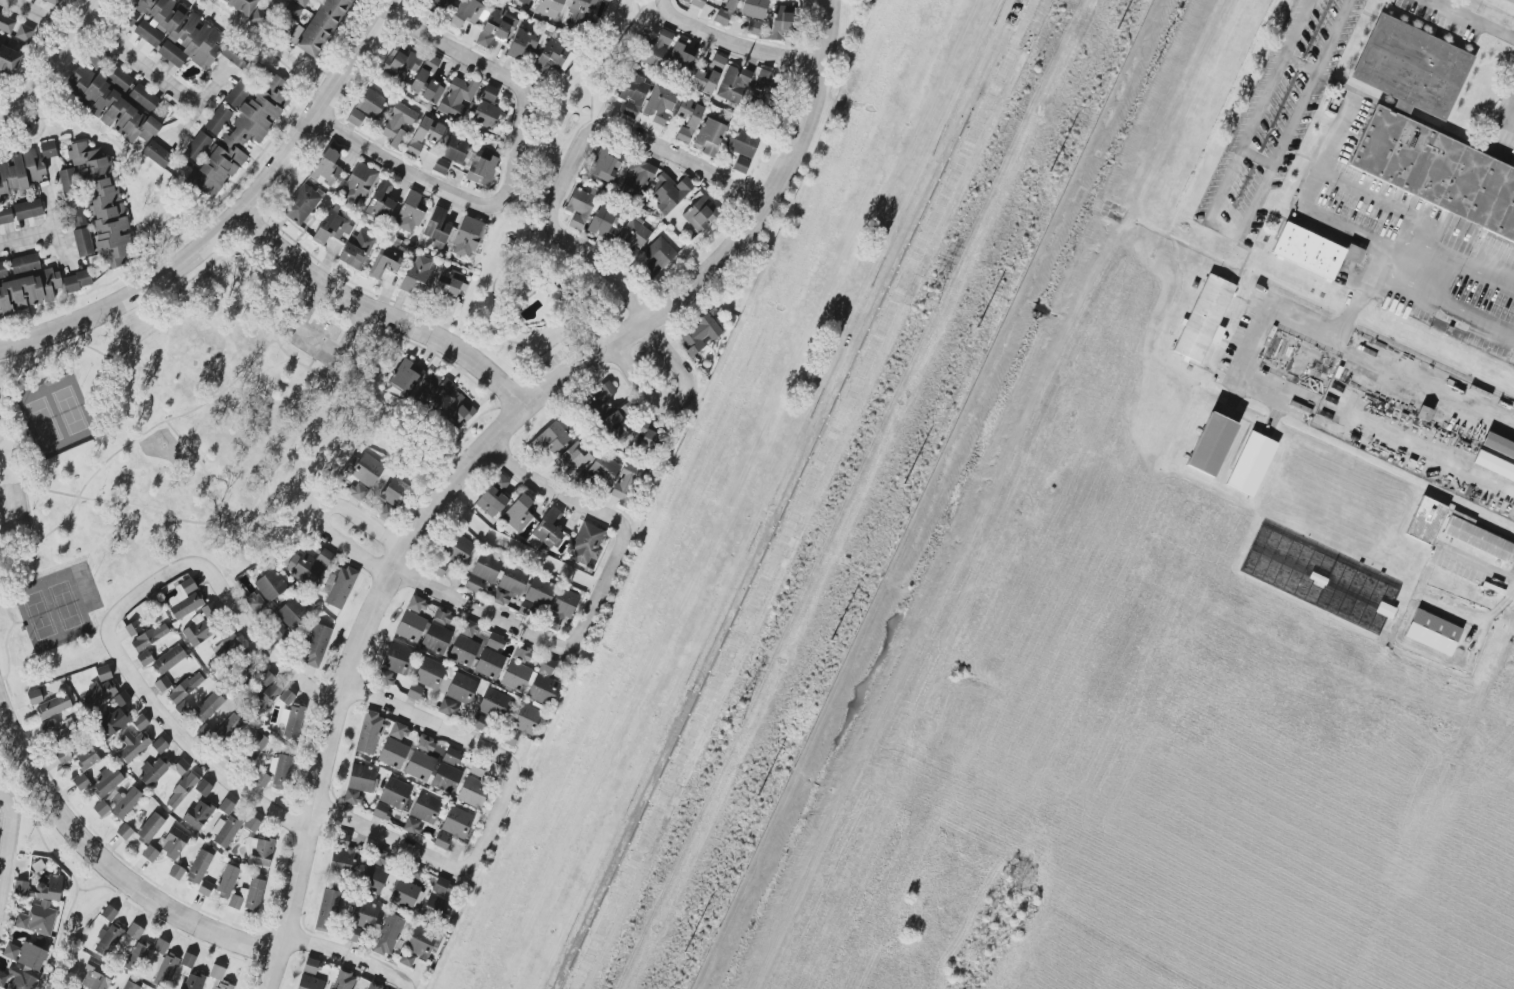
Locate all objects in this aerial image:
road: (269, 1)
building: (53, 2)
building: (524, 2)
building: (697, 2)
building: (243, 5)
building: (296, 7)
building: (549, 8)
building: (754, 8)
building: (725, 12)
building: (465, 13)
building: (583, 13)
road: (37, 16)
building: (258, 16)
road: (1477, 17)
building: (780, 21)
building: (6, 24)
building: (496, 26)
building: (321, 27)
building: (753, 27)
building: (23, 32)
building: (175, 32)
building: (522, 44)
road: (731, 45)
building: (552, 58)
building: (9, 59)
road: (137, 60)
building: (681, 61)
building: (399, 62)
road: (1300, 64)
road: (480, 65)
road: (48, 66)
building: (1410, 66)
building: (424, 74)
building: (120, 79)
building: (734, 84)
building: (432, 92)
building: (489, 93)
building: (633, 94)
building: (143, 97)
building: (457, 98)
building: (660, 104)
building: (110, 106)
road: (194, 110)
building: (485, 114)
building: (218, 119)
building: (688, 119)
building: (397, 123)
building: (240, 132)
building: (424, 135)
building: (708, 136)
road: (1336, 137)
building: (742, 143)
building: (198, 146)
road: (656, 147)
building: (48, 149)
building: (455, 149)
building: (156, 154)
road: (1257, 158)
building: (605, 164)
building: (741, 165)
building: (441, 166)
building: (326, 167)
building: (482, 168)
building: (1436, 168)
building: (19, 172)
building: (638, 176)
building: (69, 182)
building: (359, 183)
road: (426, 183)
building: (670, 192)
park: (531, 194)
building: (381, 202)
building: (301, 203)
building: (103, 204)
road: (50, 205)
building: (579, 207)
building: (28, 209)
building: (410, 212)
building: (701, 214)
building: (6, 216)
building: (77, 216)
road: (233, 219)
building: (603, 221)
road: (1340, 221)
building: (332, 226)
building: (437, 227)
road: (1231, 231)
building: (634, 234)
road: (28, 236)
building: (467, 237)
road: (1411, 237)
building: (83, 242)
building: (1307, 246)
building: (356, 250)
road: (578, 251)
building: (658, 256)
building: (387, 257)
road: (1397, 262)
building: (25, 263)
building: (416, 274)
building: (77, 281)
building: (449, 282)
building: (26, 289)
power tower: (935, 294)
road: (1450, 304)
road: (1269, 307)
building: (1201, 314)
road: (380, 315)
road: (273, 334)
building: (699, 334)
road: (70, 344)
road: (315, 344)
road: (313, 358)
road: (1386, 371)
building: (405, 376)
road: (0, 384)
building: (434, 391)
building: (600, 400)
road: (673, 400)
building: (625, 408)
building: (457, 413)
building: (1424, 413)
park: (55, 414)
building: (613, 427)
road: (3, 436)
building: (551, 437)
building: (649, 439)
building: (1497, 441)
building: (1208, 445)
park: (182, 446)
road: (481, 447)
road: (1437, 456)
building: (574, 461)
building: (1249, 461)
road: (103, 463)
building: (1492, 463)
road: (201, 467)
building: (364, 469)
building: (616, 475)
building: (358, 491)
building: (395, 491)
building: (494, 496)
road: (251, 503)
road: (582, 504)
road: (323, 510)
building: (518, 513)
building: (1422, 519)
building: (549, 528)
building: (1480, 537)
building: (587, 543)
building: (457, 548)
building: (309, 565)
building: (438, 567)
building: (483, 572)
building: (270, 585)
building: (509, 585)
building: (341, 587)
building: (177, 595)
building: (536, 598)
building: (187, 601)
building: (254, 601)
park: (57, 605)
building: (416, 605)
building: (561, 609)
building: (292, 613)
building: (442, 616)
road: (241, 620)
road: (509, 623)
building: (201, 626)
building: (411, 627)
building: (133, 628)
building: (279, 631)
building: (149, 637)
building: (436, 638)
building: (495, 641)
building: (316, 646)
building: (463, 651)
road: (5, 652)
building: (521, 653)
building: (145, 658)
building: (168, 659)
building: (396, 663)
building: (490, 664)
building: (547, 666)
building: (430, 673)
building: (516, 677)
building: (162, 684)
building: (185, 688)
building: (542, 689)
building: (100, 690)
building: (268, 691)
building: (414, 691)
building: (457, 694)
building: (35, 696)
building: (121, 698)
building: (494, 704)
building: (208, 705)
building: (53, 706)
building: (184, 708)
power tower: (737, 711)
building: (283, 716)
building: (525, 718)
building: (113, 721)
building: (140, 722)
building: (480, 722)
road: (166, 723)
road: (440, 726)
building: (223, 728)
building: (398, 731)
building: (368, 732)
building: (510, 738)
building: (425, 743)
building: (133, 745)
building: (160, 745)
building: (254, 746)
building: (393, 753)
building: (88, 755)
building: (420, 766)
building: (181, 767)
building: (280, 771)
building: (153, 772)
building: (448, 772)
building: (261, 779)
building: (107, 780)
building: (81, 782)
building: (359, 783)
building: (474, 786)
building: (203, 787)
building: (181, 790)
building: (391, 798)
building: (126, 803)
building: (226, 806)
building: (426, 807)
building: (101, 808)
building: (198, 814)
building: (254, 821)
building: (457, 823)
building: (412, 825)
building: (150, 828)
building: (225, 830)
building: (125, 832)
building: (442, 841)
building: (174, 843)
road: (9, 846)
building: (258, 851)
building: (150, 853)
road: (429, 855)
building: (343, 856)
building: (379, 857)
building: (199, 867)
road: (108, 868)
building: (176, 872)
building: (372, 878)
building: (227, 880)
building: (442, 887)
building: (205, 888)
building: (404, 894)
building: (248, 897)
building: (39, 905)
building: (434, 908)
building: (327, 910)
building: (109, 913)
building: (365, 914)
building: (134, 931)
building: (353, 934)
building: (388, 934)
building: (109, 940)
building: (160, 946)
building: (418, 946)
road: (348, 954)
building: (25, 955)
building: (137, 956)
building: (188, 960)
building: (166, 970)
building: (310, 976)
building: (97, 977)
building: (219, 978)
building: (17, 979)
building: (343, 980)
building: (192, 982)
building: (129, 985)
building: (372, 986)
building: (69, 988)

